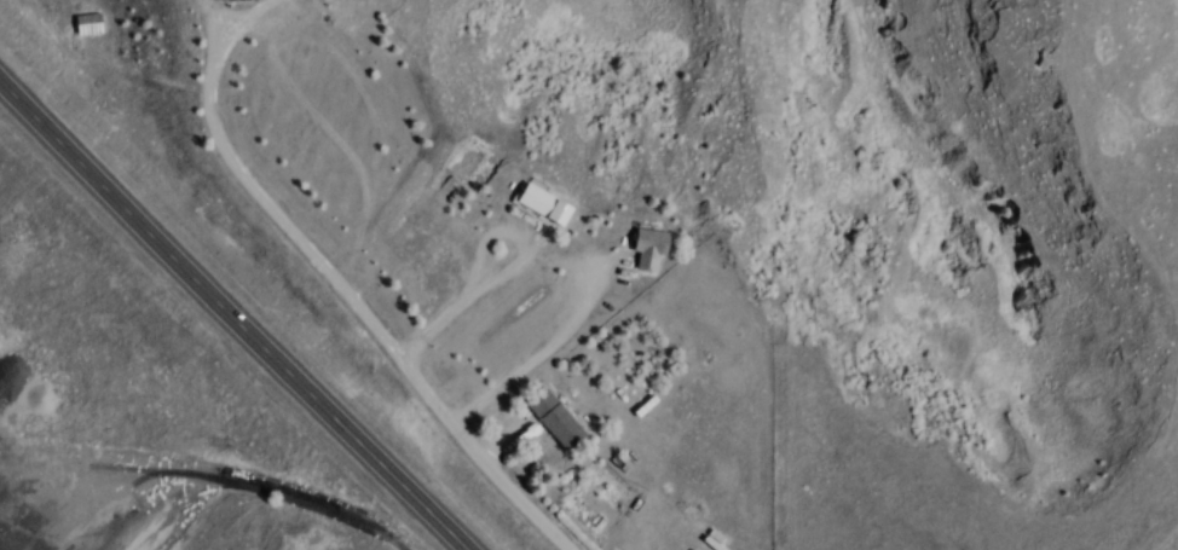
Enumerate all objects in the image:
road: (216, 73)
building: (550, 203)
building: (653, 248)
building: (439, 257)
road: (233, 313)
road: (400, 357)
road: (535, 361)
building: (559, 418)

